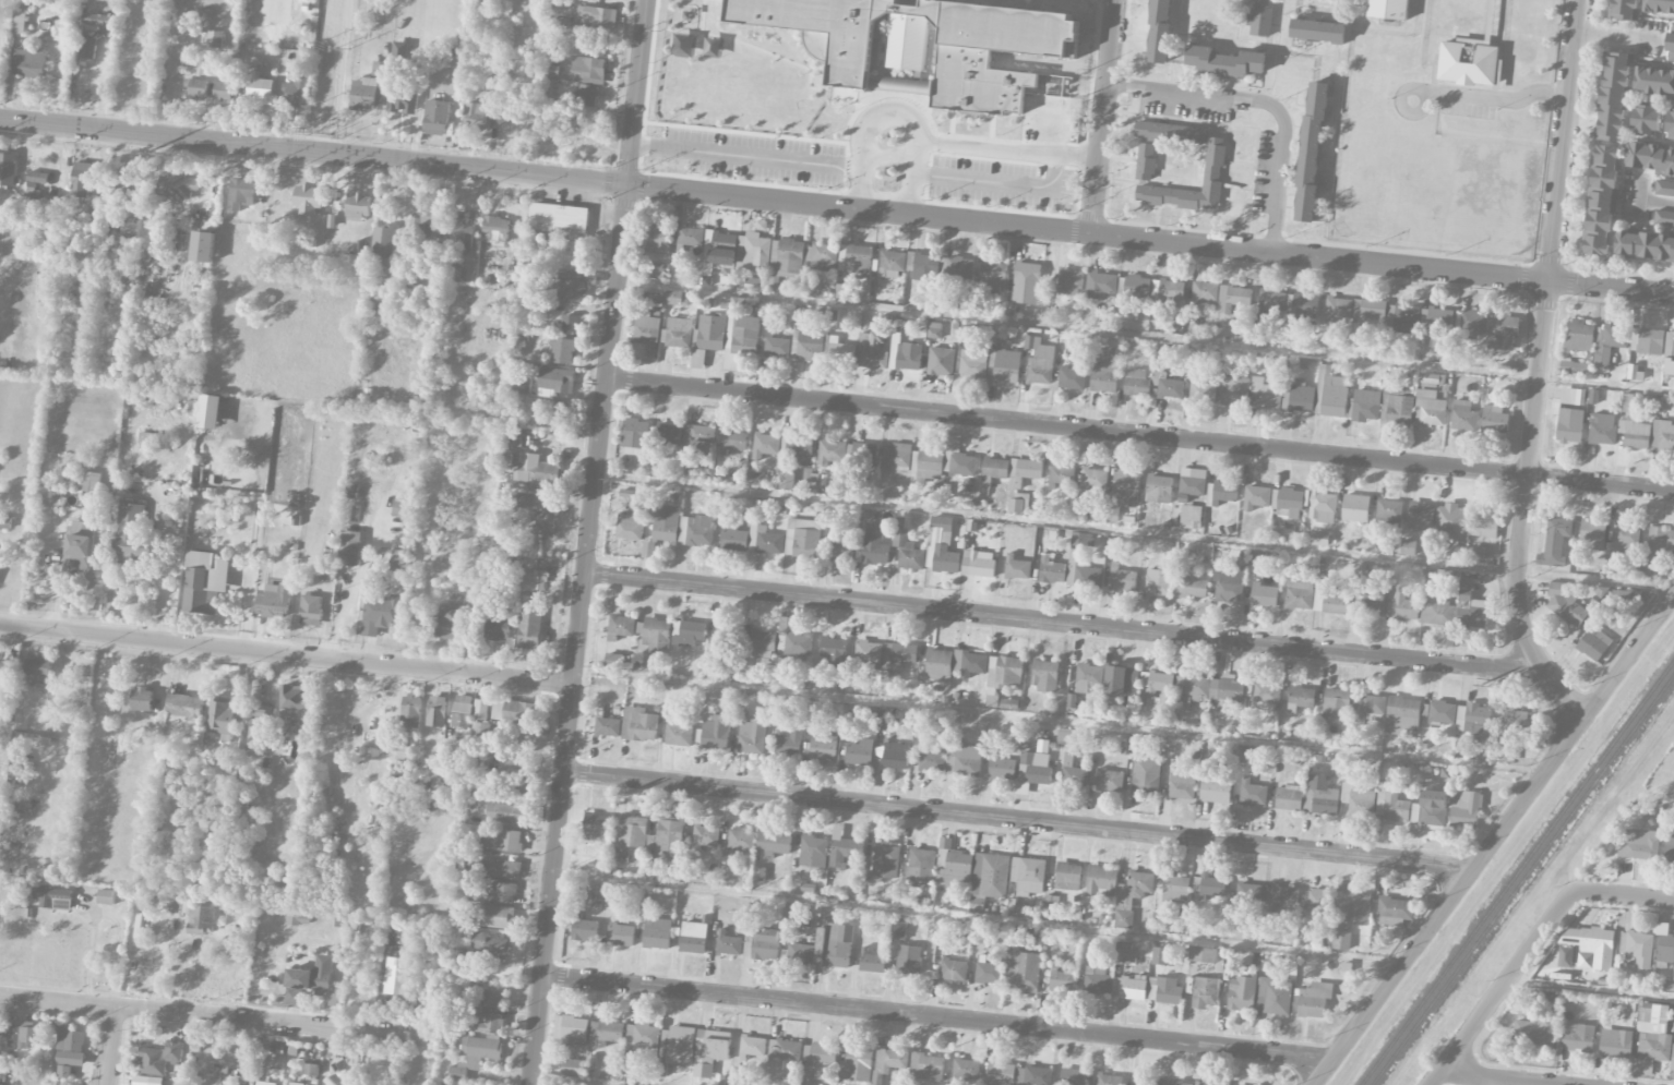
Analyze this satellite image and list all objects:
building: (1659, 5)
building: (1389, 9)
building: (1624, 9)
building: (597, 17)
building: (1259, 17)
building: (99, 21)
building: (19, 22)
building: (1317, 31)
building: (1160, 32)
road: (1612, 35)
building: (212, 38)
building: (1671, 44)
building: (921, 46)
building: (87, 47)
road: (1278, 51)
building: (1223, 61)
building: (29, 63)
building: (1468, 63)
building: (551, 69)
building: (588, 70)
building: (1654, 81)
building: (402, 83)
building: (1054, 85)
road: (1412, 86)
building: (195, 87)
building: (371, 88)
building: (260, 89)
building: (223, 91)
building: (297, 93)
building: (584, 96)
building: (1613, 96)
road: (1496, 97)
road: (1264, 101)
building: (481, 114)
road: (894, 116)
road: (1100, 116)
building: (437, 118)
building: (1645, 120)
building: (1670, 123)
power tower: (322, 125)
building: (1170, 132)
road: (969, 146)
power tower: (146, 150)
building: (1312, 152)
road: (748, 155)
road: (888, 155)
road: (1060, 155)
building: (1651, 159)
building: (1146, 161)
building: (1213, 161)
building: (8, 169)
building: (82, 179)
road: (979, 180)
building: (35, 181)
building: (128, 183)
building: (177, 185)
building: (1664, 188)
building: (240, 193)
building: (308, 198)
building: (1602, 200)
road: (1672, 203)
building: (358, 206)
road: (836, 206)
building: (96, 210)
building: (47, 216)
building: (1664, 218)
building: (560, 219)
building: (428, 224)
building: (131, 227)
building: (463, 230)
building: (495, 230)
building: (691, 236)
building: (658, 239)
building: (164, 241)
building: (383, 241)
building: (203, 246)
building: (1645, 246)
building: (753, 252)
building: (823, 255)
building: (788, 256)
building: (856, 260)
building: (892, 264)
building: (925, 266)
building: (959, 268)
building: (657, 270)
building: (453, 273)
building: (379, 274)
building: (993, 276)
building: (1069, 281)
building: (1026, 282)
building: (1115, 285)
building: (569, 286)
building: (1171, 290)
building: (844, 291)
building: (1205, 291)
building: (677, 298)
building: (1237, 300)
building: (1272, 302)
building: (1302, 308)
building: (1337, 309)
building: (1368, 310)
building: (1406, 318)
building: (1439, 321)
building: (1470, 323)
building: (569, 324)
building: (934, 329)
building: (712, 331)
building: (679, 333)
building: (1503, 333)
road: (1540, 335)
building: (645, 336)
building: (1579, 336)
building: (521, 340)
building: (741, 341)
building: (1650, 341)
building: (776, 345)
building: (808, 345)
building: (1609, 345)
building: (562, 350)
building: (840, 351)
building: (870, 351)
building: (905, 354)
building: (1669, 354)
building: (697, 358)
building: (1039, 360)
building: (941, 361)
building: (973, 362)
building: (1005, 365)
building: (1573, 367)
building: (1104, 376)
building: (1072, 378)
building: (557, 379)
building: (1151, 384)
road: (1605, 384)
building: (522, 386)
building: (1234, 390)
building: (1201, 391)
building: (1330, 394)
building: (1266, 395)
building: (1301, 396)
building: (1571, 396)
building: (1365, 406)
building: (1397, 408)
building: (1428, 409)
building: (211, 411)
building: (554, 412)
building: (1463, 415)
building: (1494, 419)
building: (1569, 425)
building: (1602, 429)
building: (635, 433)
building: (668, 433)
road: (1141, 433)
building: (1635, 434)
building: (1662, 435)
building: (513, 438)
building: (697, 439)
building: (734, 439)
building: (765, 445)
building: (952, 446)
building: (797, 447)
building: (832, 451)
building: (865, 454)
building: (898, 458)
building: (962, 465)
building: (930, 466)
building: (994, 470)
building: (535, 474)
building: (1061, 475)
building: (753, 478)
building: (786, 480)
building: (817, 481)
building: (91, 482)
building: (1194, 482)
building: (1021, 483)
building: (1093, 483)
building: (1127, 486)
building: (1159, 489)
building: (1221, 493)
building: (1256, 496)
building: (1290, 502)
building: (1320, 506)
building: (403, 507)
building: (1355, 507)
building: (536, 511)
building: (1112, 511)
building: (1389, 511)
building: (1095, 513)
building: (1421, 516)
building: (1191, 517)
building: (1450, 522)
building: (1484, 523)
building: (630, 526)
building: (662, 528)
building: (696, 530)
road: (1136, 531)
building: (1592, 534)
building: (132, 538)
building: (733, 538)
building: (802, 538)
building: (1316, 538)
building: (1081, 539)
building: (765, 540)
building: (1624, 541)
road: (590, 542)
building: (1555, 542)
building: (1661, 542)
building: (80, 545)
building: (875, 545)
building: (907, 546)
building: (941, 546)
building: (1408, 547)
building: (349, 548)
building: (841, 551)
building: (1479, 553)
building: (400, 562)
building: (978, 564)
building: (1017, 567)
road: (162, 569)
building: (1052, 571)
building: (1081, 572)
building: (326, 574)
road: (250, 575)
building: (1121, 578)
building: (531, 580)
building: (205, 581)
building: (1159, 582)
building: (1229, 582)
road: (356, 584)
building: (1189, 584)
building: (1299, 594)
building: (1264, 596)
building: (1623, 598)
building: (273, 600)
building: (1373, 602)
building: (1334, 603)
building: (1563, 603)
building: (1471, 606)
building: (1404, 607)
building: (311, 610)
building: (1436, 613)
building: (380, 614)
building: (451, 622)
building: (621, 626)
building: (497, 627)
road: (1098, 627)
building: (529, 628)
building: (657, 631)
building: (687, 632)
building: (721, 636)
building: (793, 638)
building: (762, 643)
building: (1593, 643)
building: (833, 653)
building: (868, 654)
road: (287, 655)
building: (613, 660)
building: (896, 660)
building: (970, 662)
building: (38, 665)
building: (938, 665)
building: (1004, 672)
building: (1044, 675)
building: (1087, 677)
building: (1121, 680)
building: (1158, 687)
building: (1193, 688)
building: (1230, 688)
building: (1266, 697)
building: (1300, 698)
building: (142, 699)
building: (1071, 700)
building: (296, 702)
building: (1337, 702)
building: (1009, 703)
building: (186, 706)
building: (780, 706)
building: (1370, 707)
building: (481, 709)
building: (410, 711)
building: (437, 711)
building: (261, 712)
building: (519, 712)
building: (1443, 712)
building: (462, 714)
building: (1402, 714)
building: (219, 715)
road: (1060, 719)
building: (1478, 720)
building: (19, 722)
building: (1514, 723)
building: (638, 724)
building: (608, 726)
building: (479, 731)
building: (716, 732)
building: (1064, 734)
building: (679, 735)
building: (752, 736)
building: (788, 740)
building: (823, 744)
building: (396, 749)
building: (1506, 750)
building: (859, 752)
building: (895, 756)
building: (930, 759)
building: (962, 760)
building: (516, 765)
building: (1001, 767)
building: (17, 768)
building: (1033, 768)
building: (1073, 772)
building: (1146, 775)
building: (1110, 780)
road: (1636, 782)
building: (1182, 785)
building: (1216, 786)
building: (1252, 793)
building: (1358, 794)
building: (1320, 796)
building: (1289, 797)
building: (1391, 804)
building: (1466, 810)
building: (505, 812)
road: (1018, 821)
building: (633, 831)
building: (670, 834)
building: (705, 836)
building: (500, 840)
building: (741, 840)
road: (1492, 840)
building: (775, 843)
building: (1638, 844)
building: (813, 852)
building: (1669, 852)
building: (848, 854)
building: (618, 856)
building: (886, 860)
building: (922, 865)
building: (501, 868)
railway: (1516, 871)
building: (758, 873)
building: (1028, 875)
building: (1067, 876)
building: (989, 878)
railway: (1522, 879)
building: (1101, 881)
building: (1139, 884)
building: (1209, 885)
building: (1175, 889)
building: (503, 892)
building: (584, 892)
road: (1624, 894)
building: (1248, 895)
building: (106, 896)
building: (53, 897)
building: (1281, 897)
building: (1320, 900)
building: (1017, 908)
building: (754, 911)
building: (1395, 911)
road: (105, 913)
building: (1349, 913)
building: (194, 915)
building: (794, 915)
building: (494, 916)
building: (299, 918)
road: (979, 918)
building: (1124, 919)
building: (584, 928)
building: (898, 932)
building: (657, 933)
building: (980, 933)
building: (621, 935)
building: (694, 937)
building: (833, 942)
building: (728, 943)
building: (765, 944)
building: (490, 945)
building: (1589, 947)
building: (1638, 948)
building: (1664, 949)
building: (1125, 953)
building: (801, 954)
building: (1203, 954)
building: (1095, 955)
building: (1159, 955)
building: (909, 959)
building: (874, 963)
building: (954, 969)
building: (989, 972)
building: (1023, 973)
building: (397, 975)
building: (1097, 980)
building: (1061, 981)
building: (307, 982)
road: (1500, 987)
building: (1128, 988)
building: (1165, 989)
road: (1589, 991)
building: (1205, 992)
building: (1241, 992)
building: (1274, 996)
building: (492, 999)
building: (1314, 1000)
road: (935, 1017)
road: (215, 1018)
building: (489, 1023)
building: (571, 1029)
building: (606, 1033)
building: (1534, 1033)
building: (23, 1036)
building: (1577, 1037)
building: (1652, 1039)
building: (642, 1040)
building: (1616, 1045)
building: (678, 1046)
road: (111, 1047)
building: (752, 1047)
building: (480, 1050)
building: (70, 1051)
building: (710, 1051)
building: (820, 1054)
building: (159, 1058)
building: (1672, 1058)
building: (781, 1060)
building: (590, 1062)
building: (888, 1062)
building: (573, 1066)
building: (926, 1066)
building: (310, 1069)
building: (965, 1070)
building: (457, 1073)
building: (1001, 1073)
building: (1033, 1075)
building: (1073, 1076)
building: (1109, 1078)
road: (1503, 1078)
building: (146, 1081)
building: (1144, 1081)
road: (553, 1083)
building: (1175, 1083)
building: (1210, 1083)
building: (0, 1084)
building: (263, 1084)

